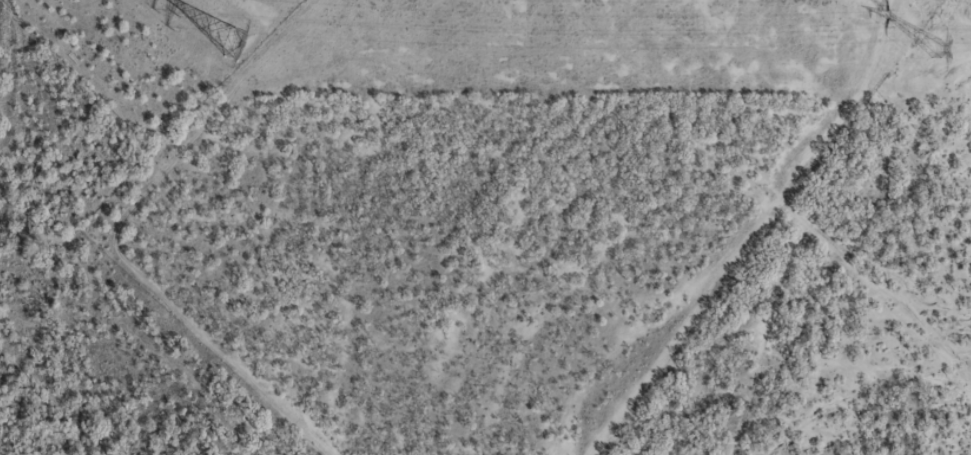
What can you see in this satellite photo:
power tower: (239, 43)
power tower: (924, 44)

